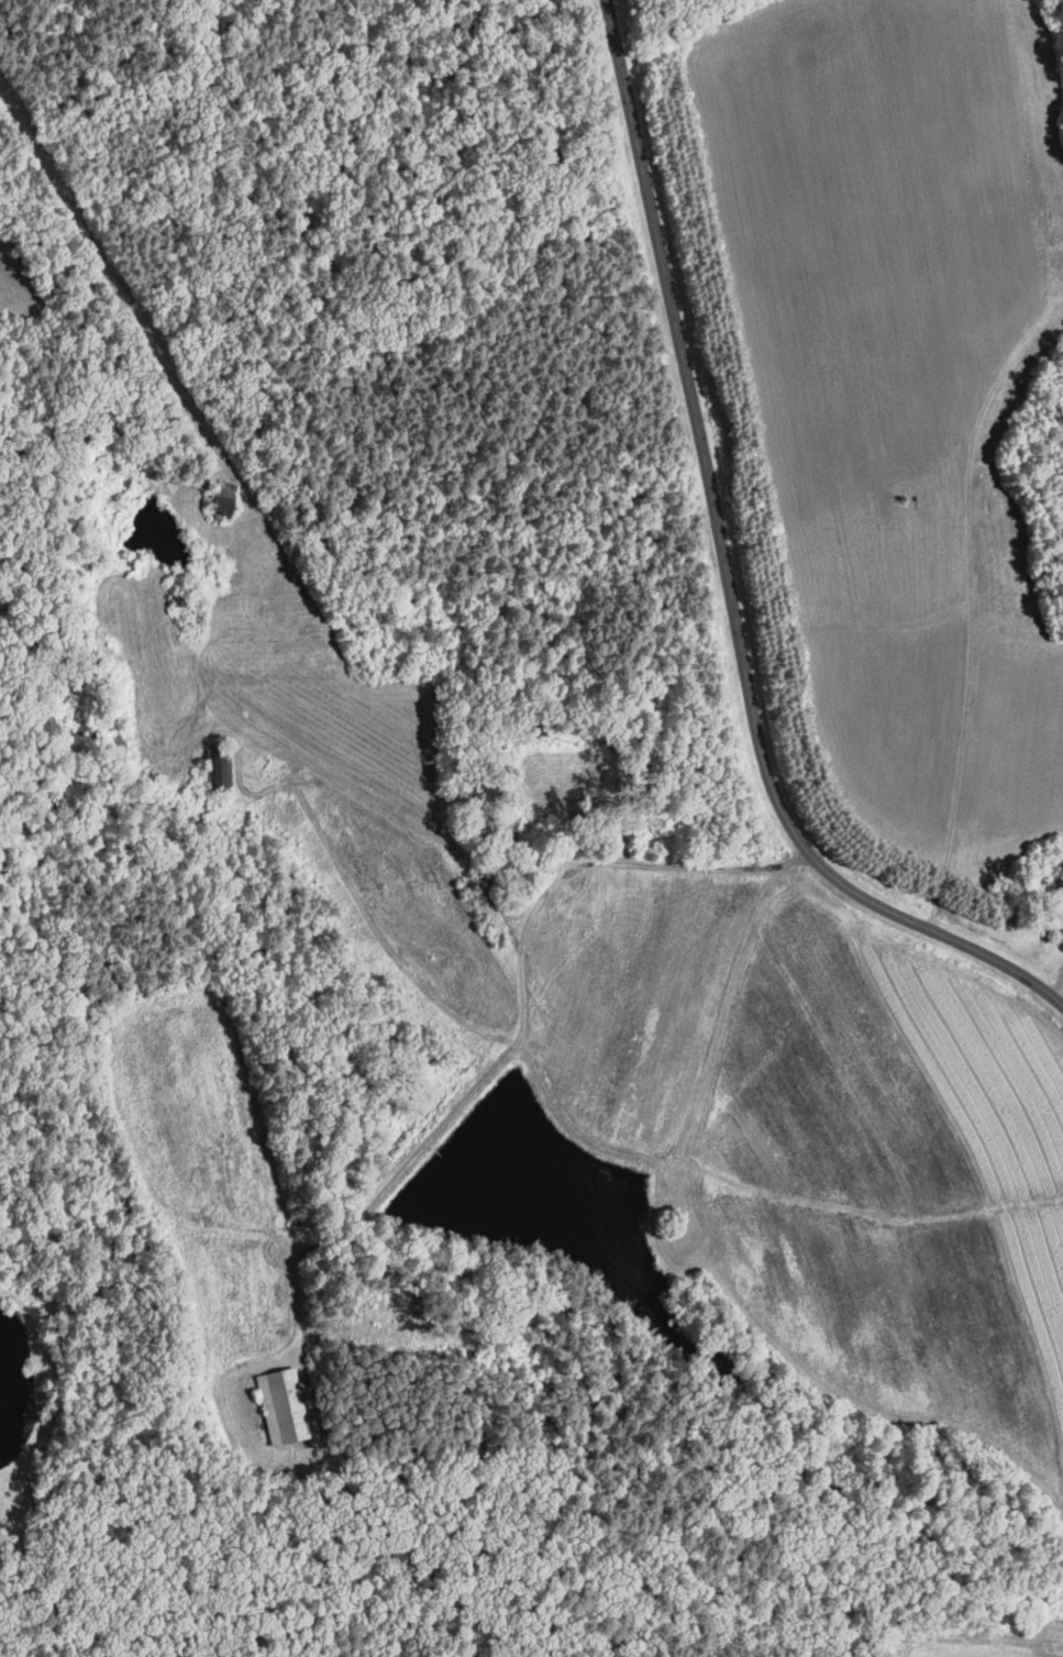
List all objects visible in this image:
building: (228, 502)
road: (727, 576)
road: (354, 784)
road: (495, 872)
road: (520, 1025)
building: (286, 1405)

